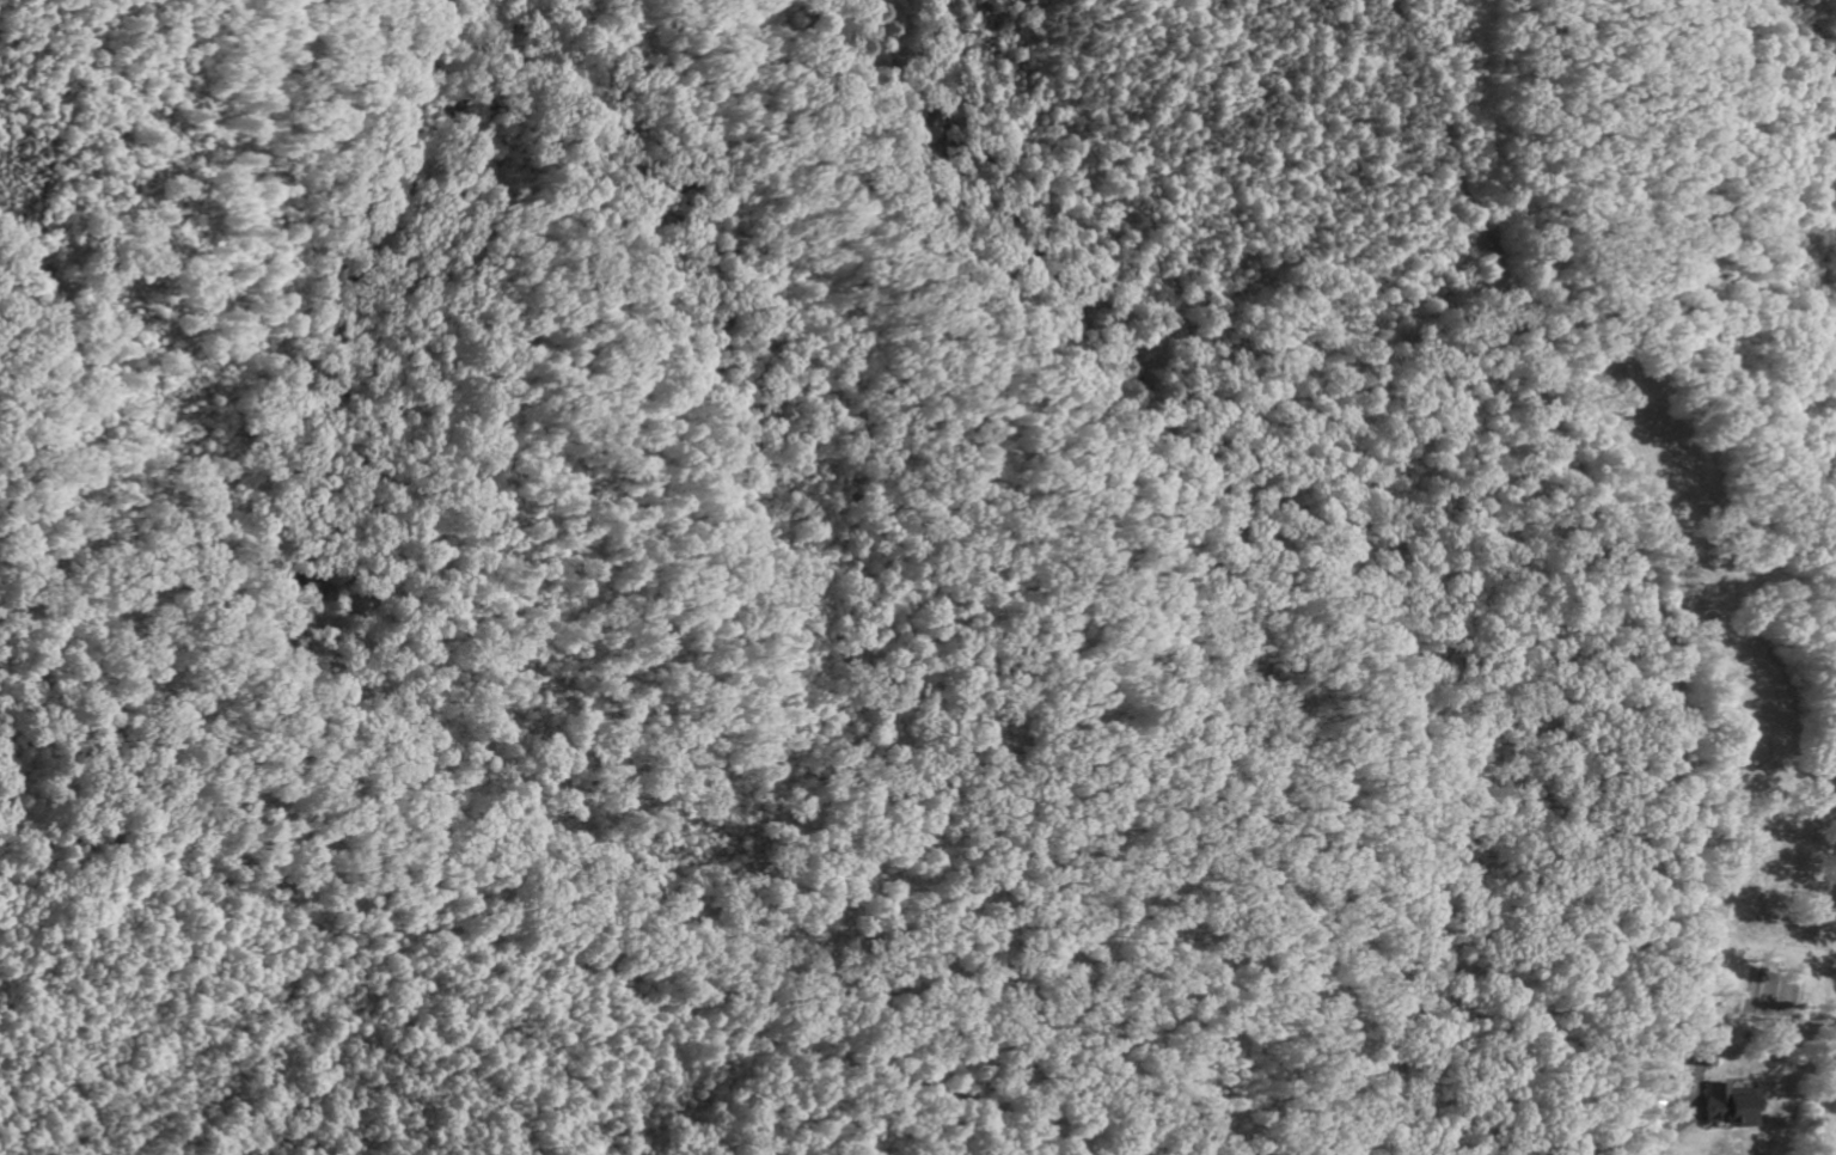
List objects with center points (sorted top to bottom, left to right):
building: (1699, 1056)
building: (1724, 1107)

